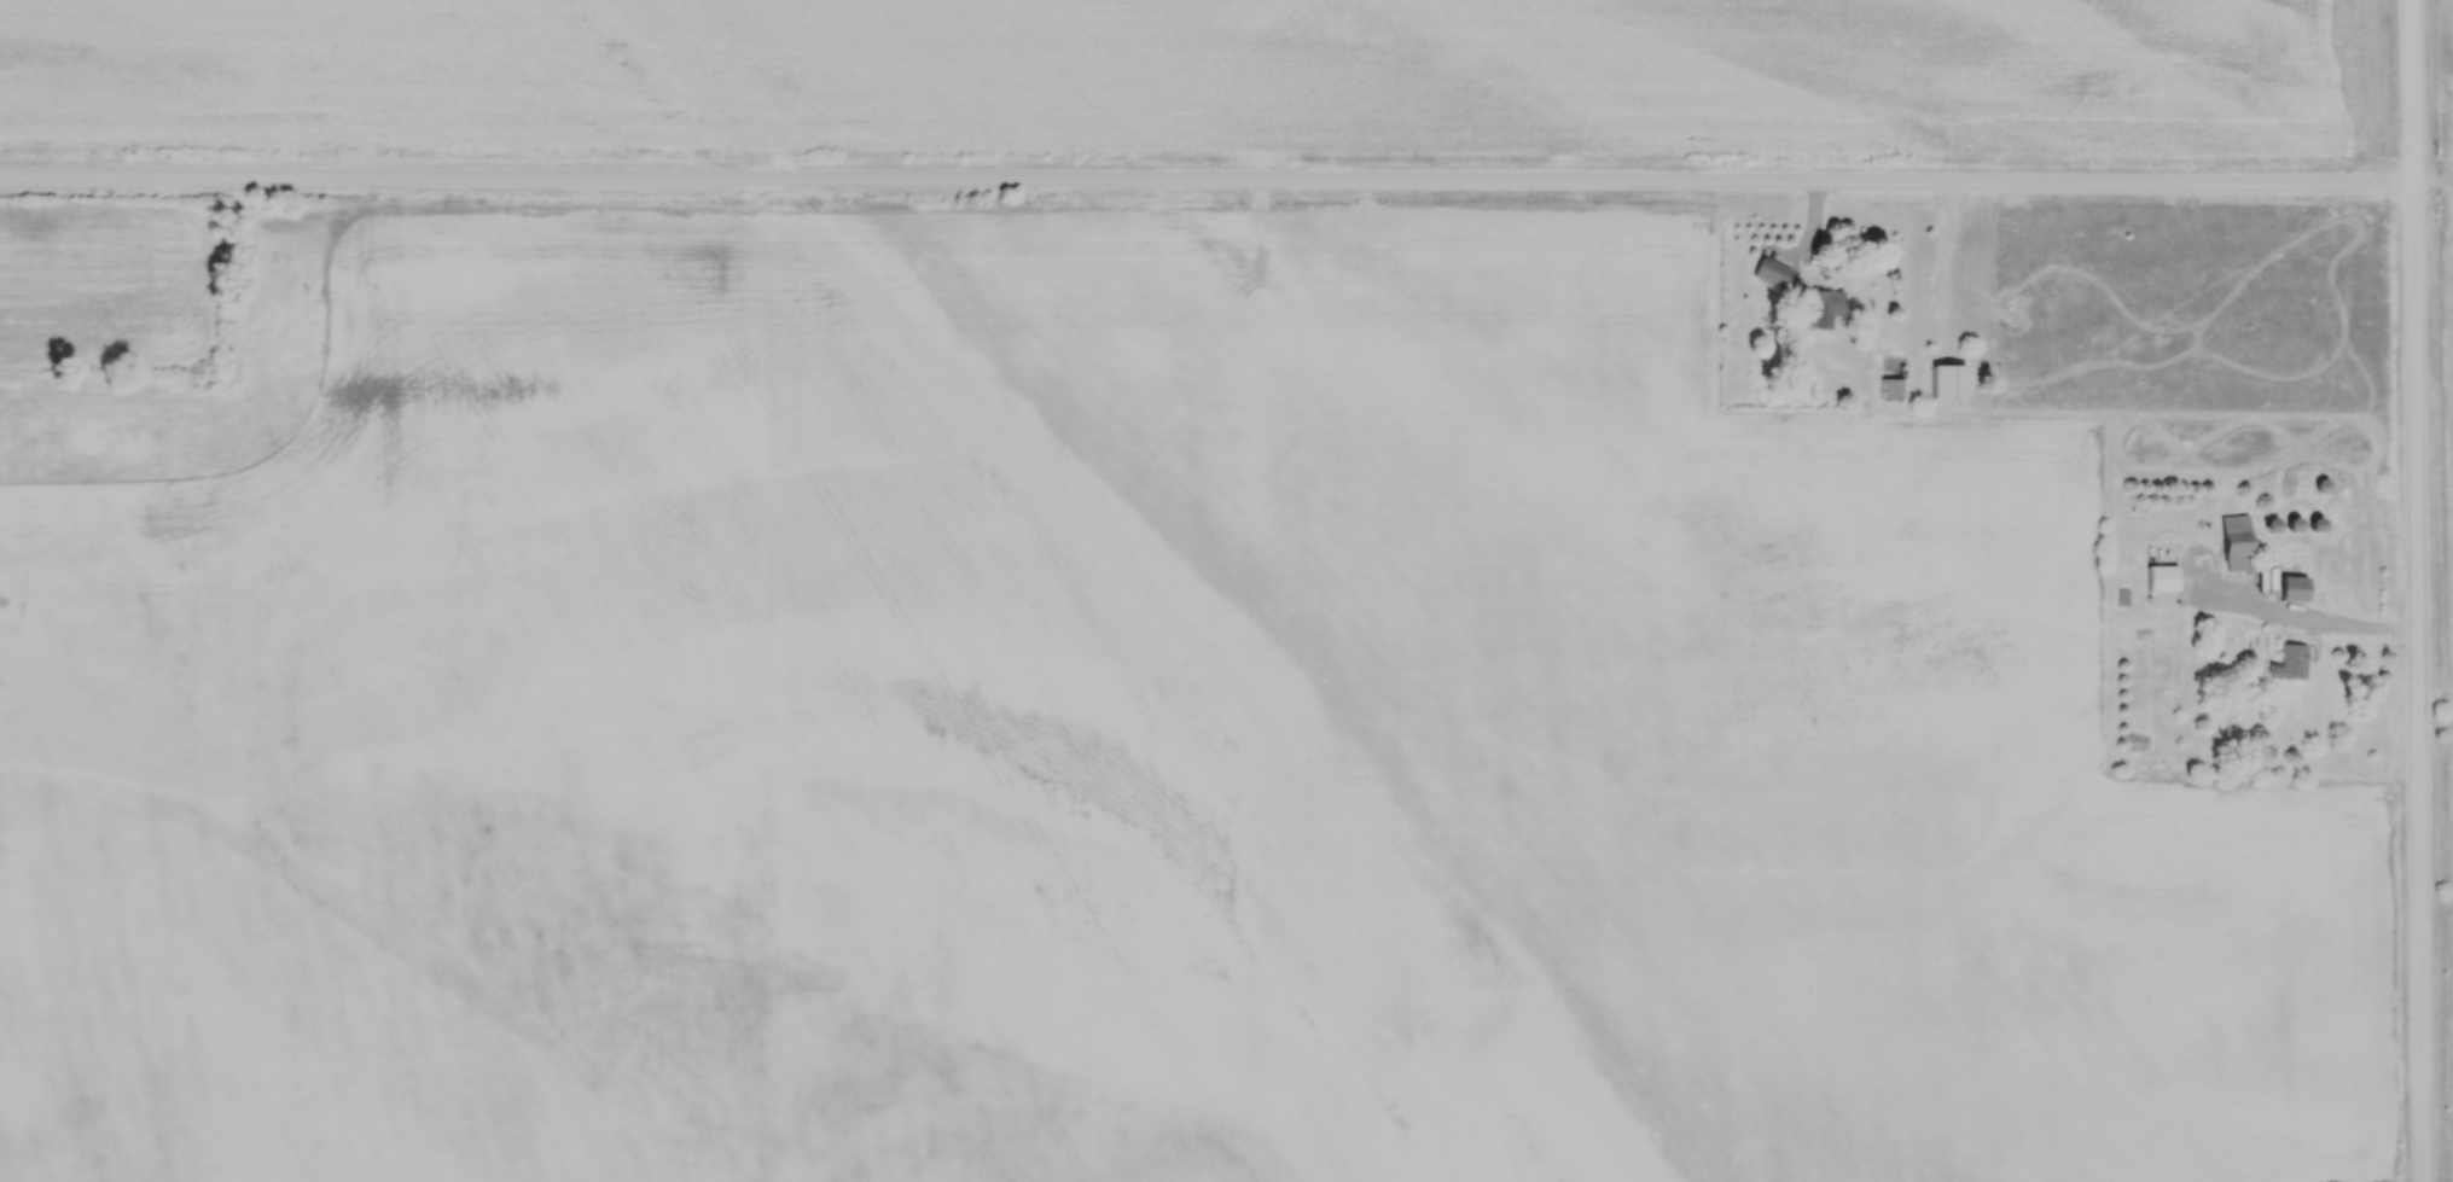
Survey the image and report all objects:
road: (1207, 177)
road: (2408, 590)
road: (2326, 622)

